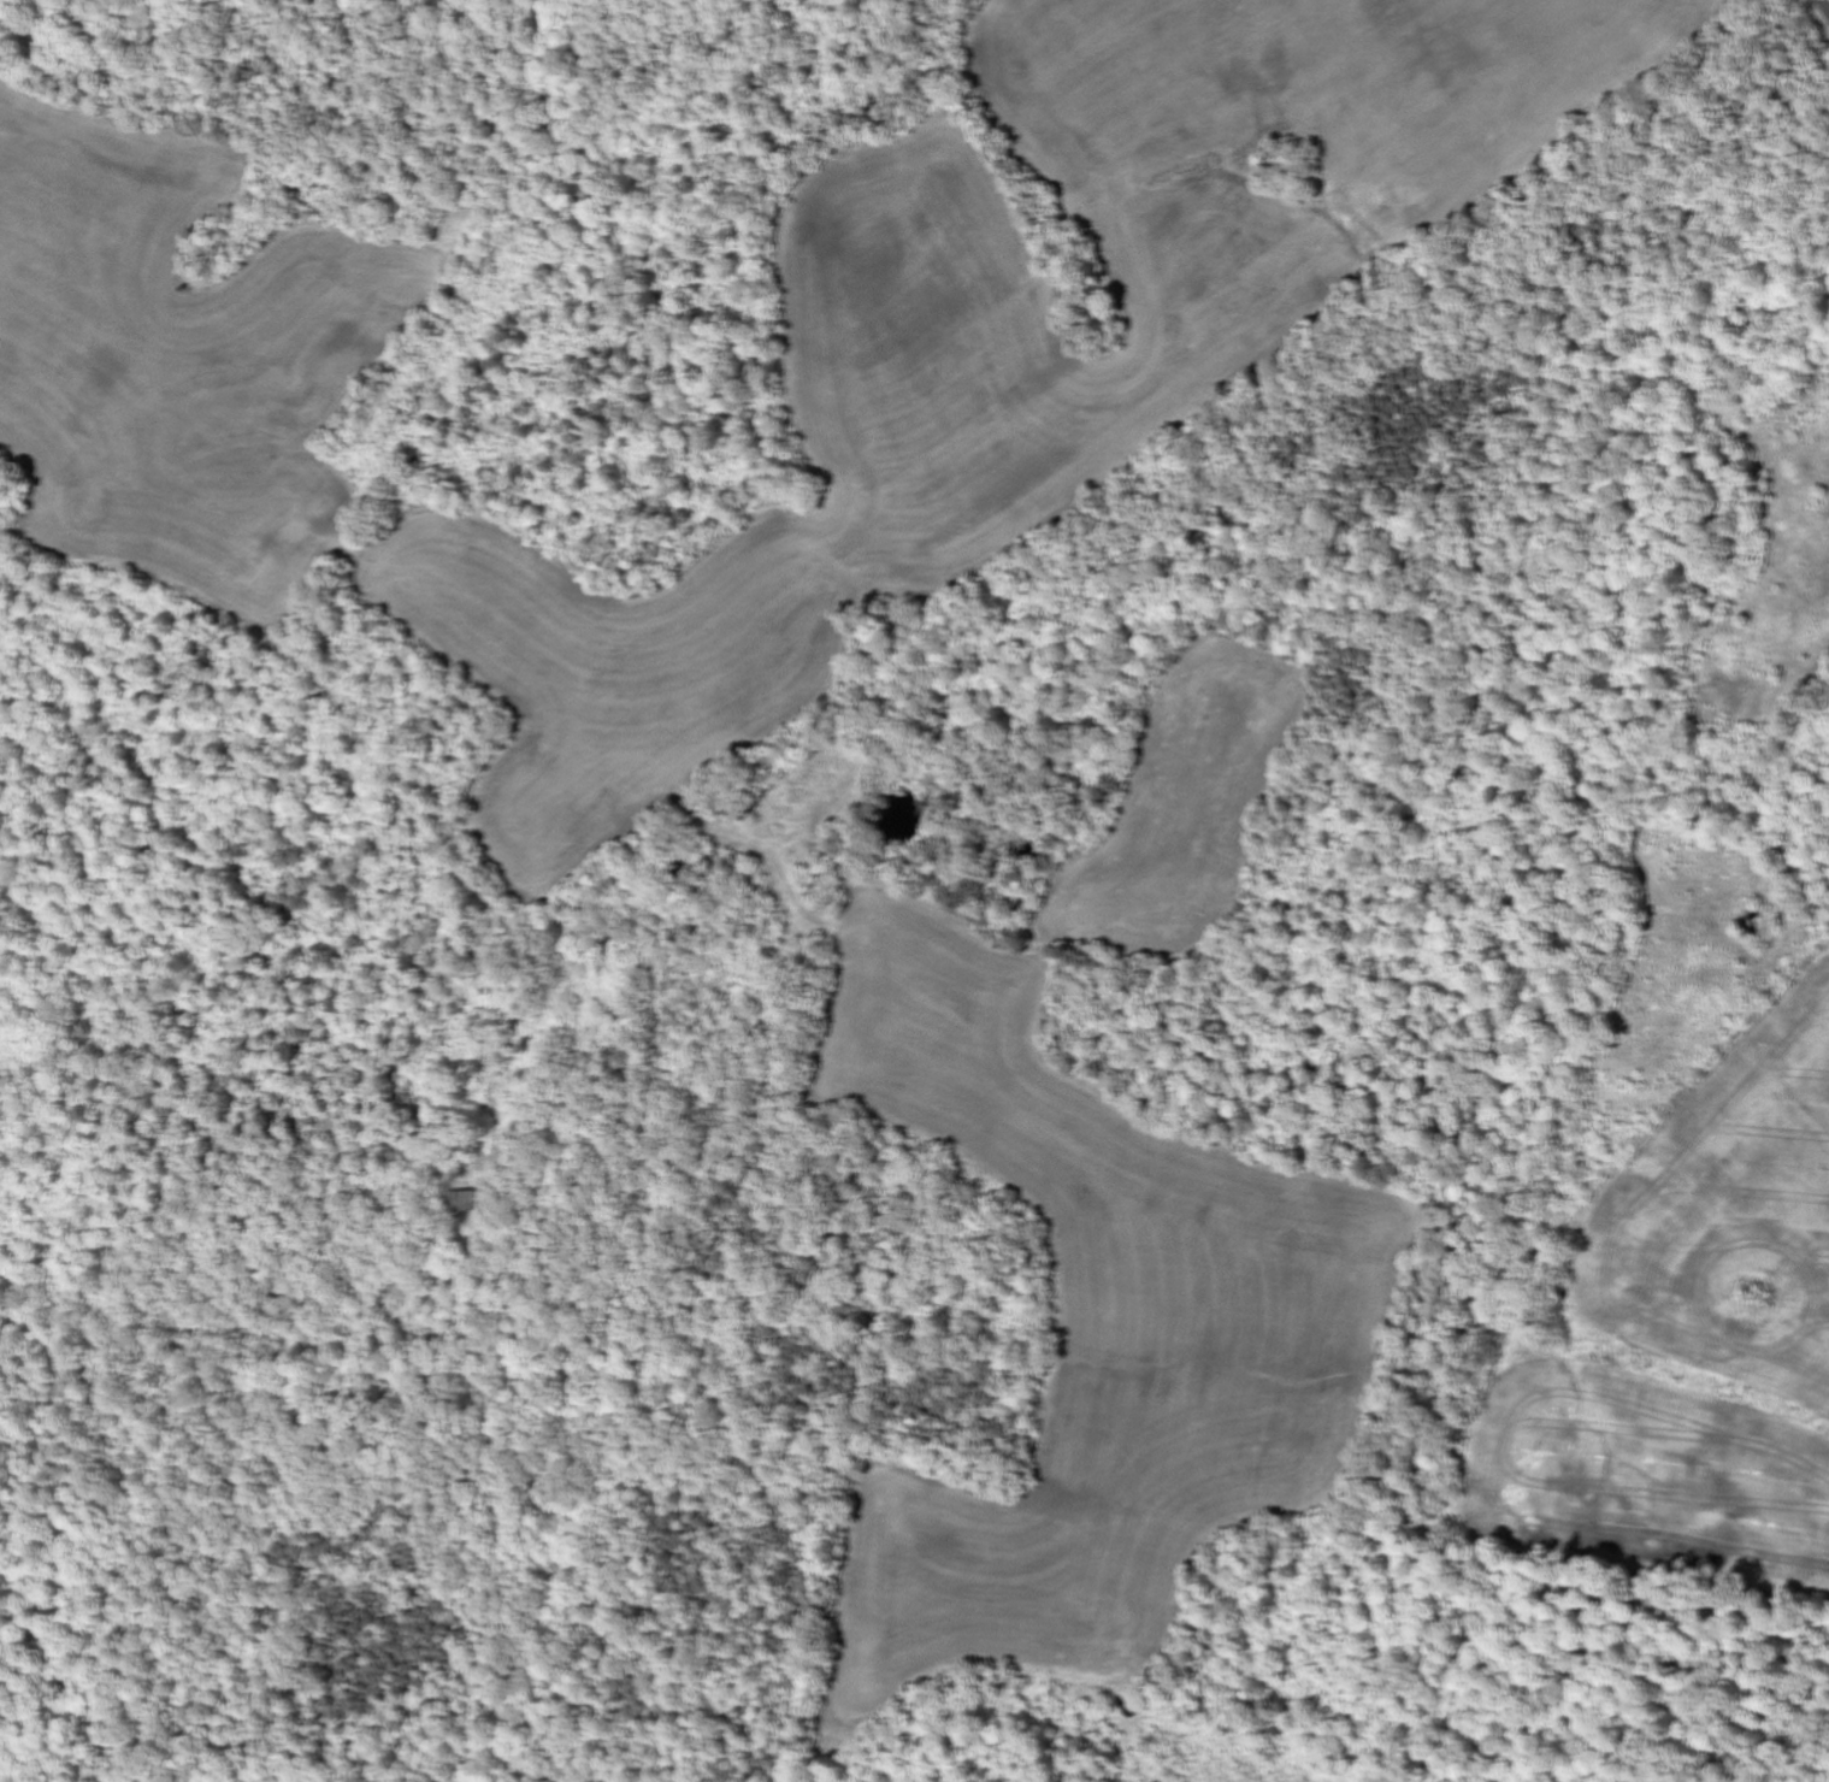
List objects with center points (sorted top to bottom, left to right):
road: (1827, 2)

